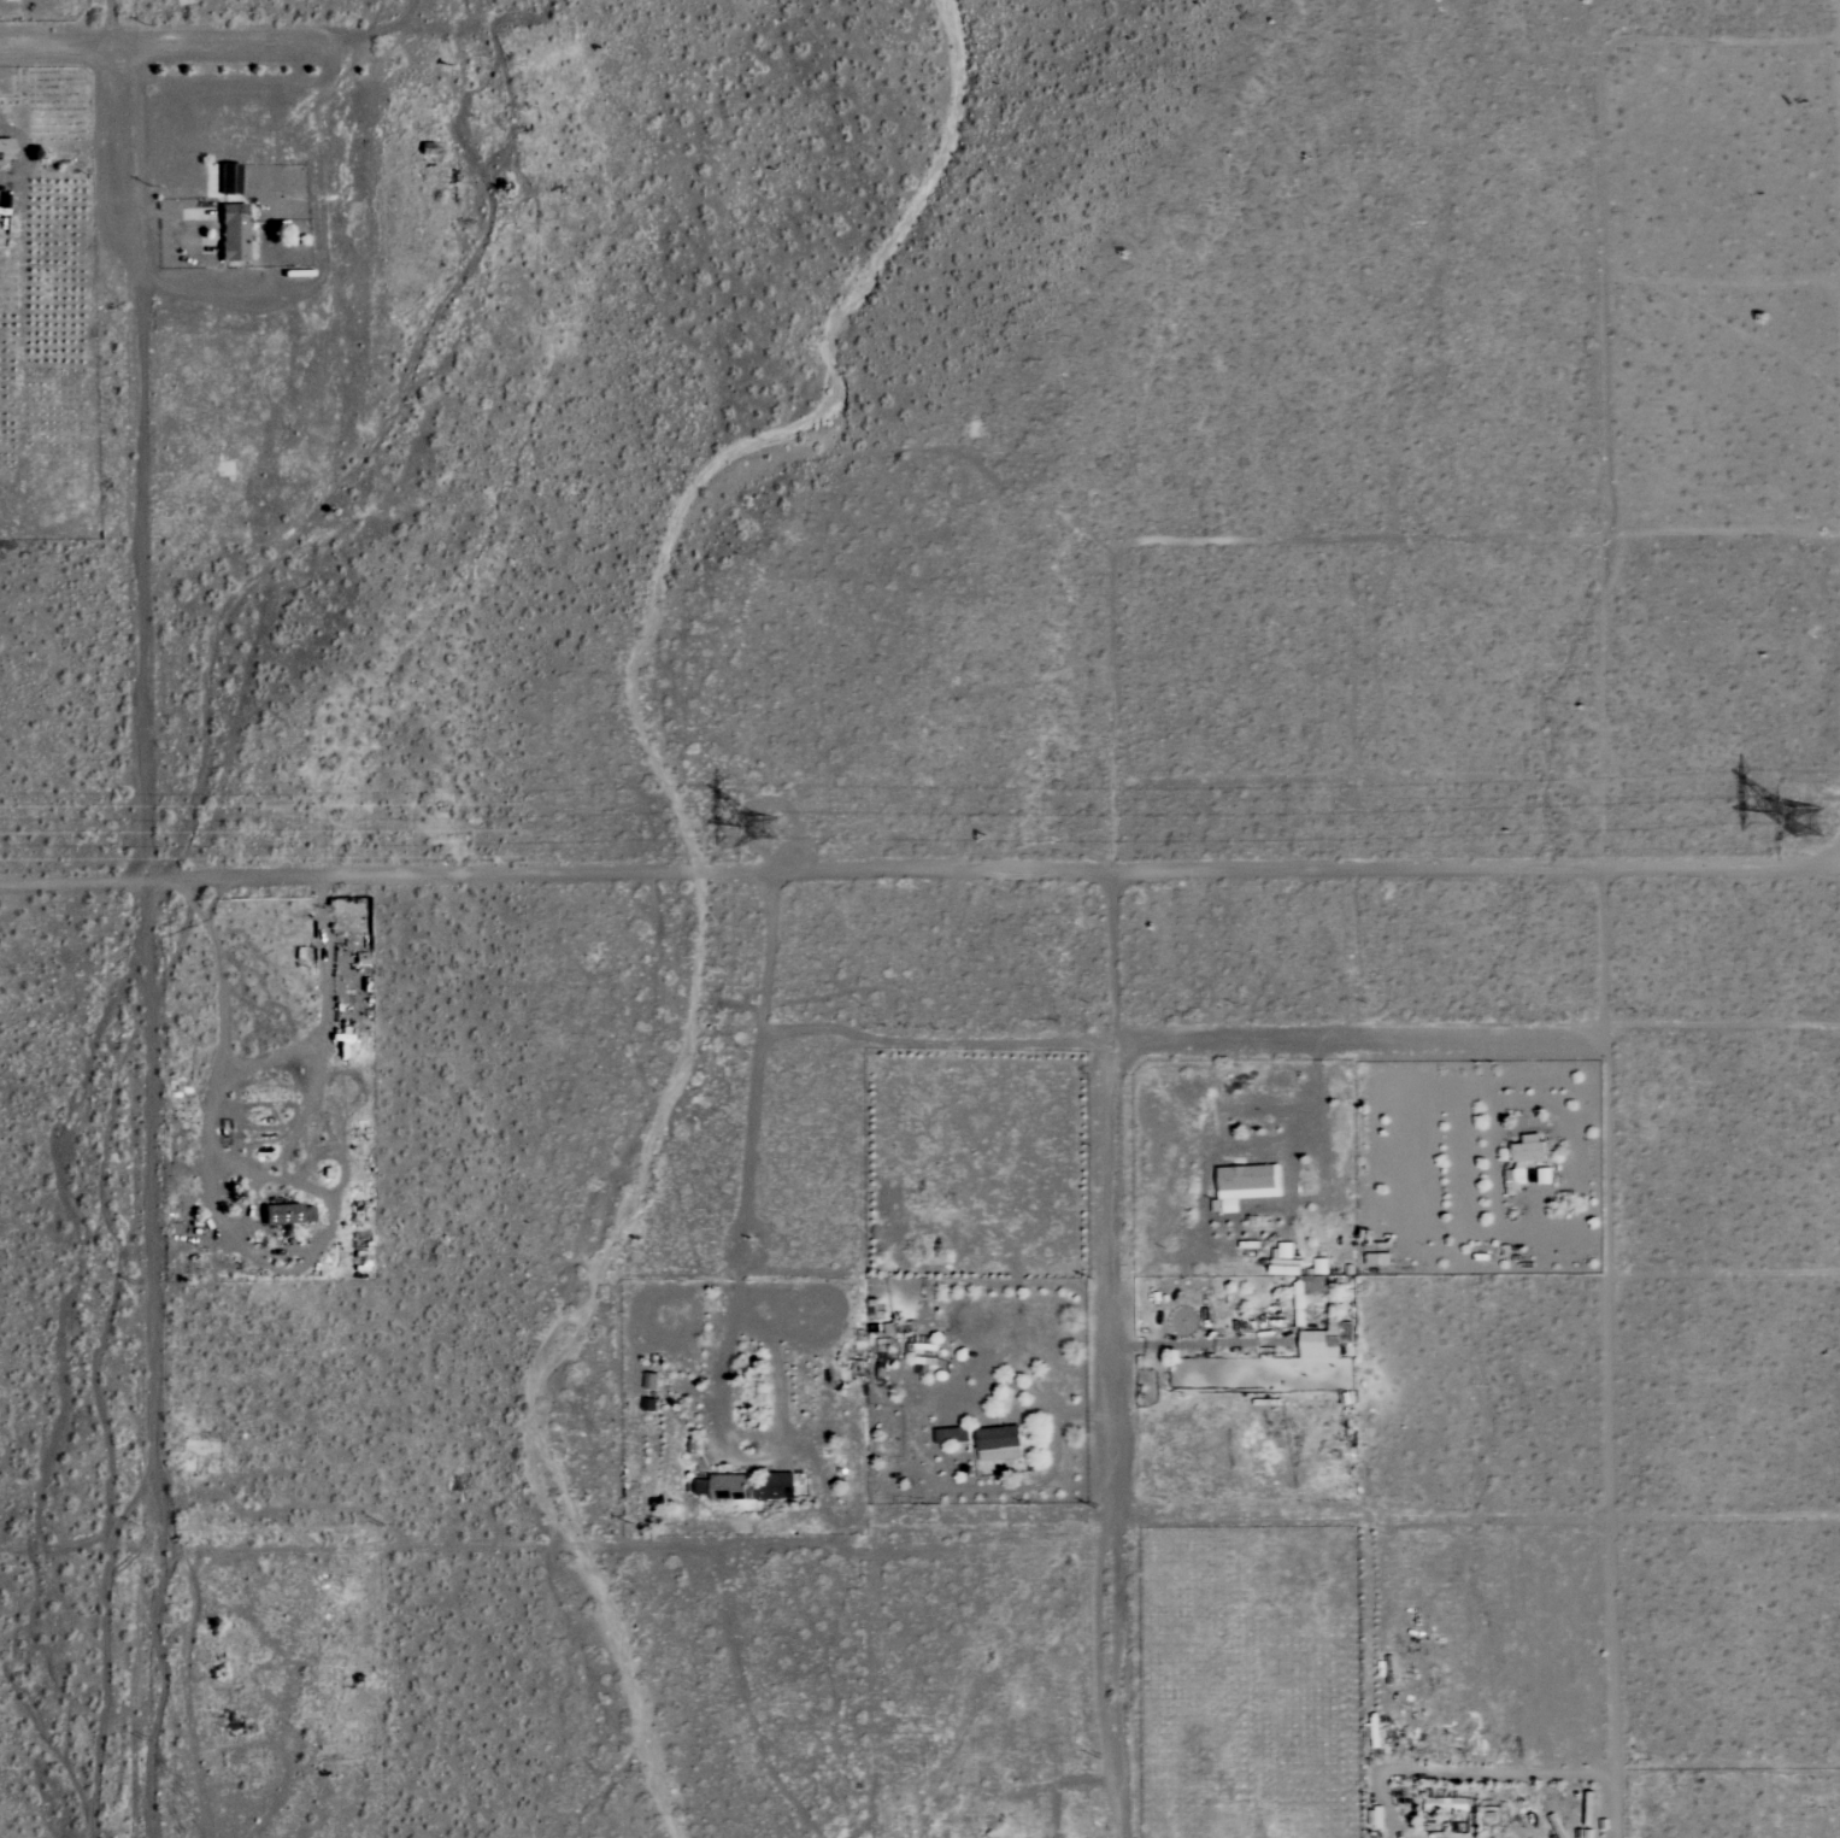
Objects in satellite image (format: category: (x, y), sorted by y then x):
road: (110, 23)
road: (1724, 39)
road: (169, 47)
building: (233, 233)
power tower: (793, 829)
power tower: (1818, 829)
road: (919, 875)
road: (140, 943)
road: (1110, 1041)
road: (933, 1043)
road: (1433, 1044)
road: (252, 1065)
road: (1321, 1121)
building: (1524, 1161)
building: (1544, 1175)
building: (1250, 1181)
building: (1230, 1205)
building: (278, 1214)
road: (737, 1256)
building: (1299, 1278)
building: (1321, 1344)
building: (924, 1356)
building: (651, 1381)
road: (1041, 1391)
building: (999, 1443)
building: (728, 1486)
road: (1597, 1521)
road: (81, 1545)
road: (1371, 1614)
road: (1118, 1683)
road: (1063, 1783)
building: (1446, 1804)
building: (1377, 1818)

